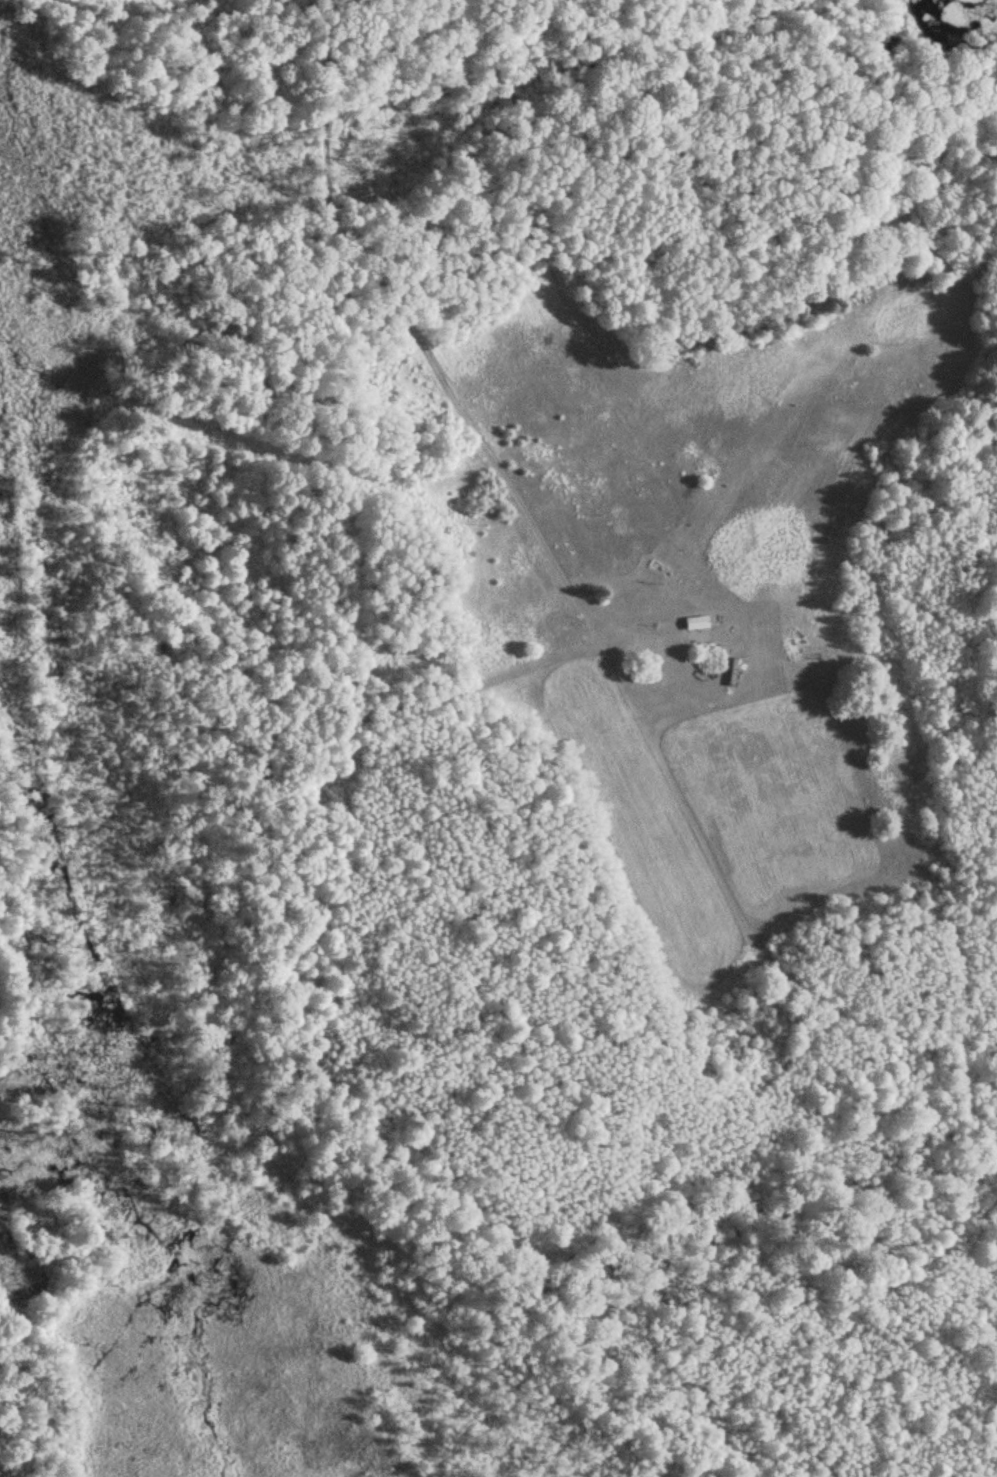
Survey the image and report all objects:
building: (694, 623)

